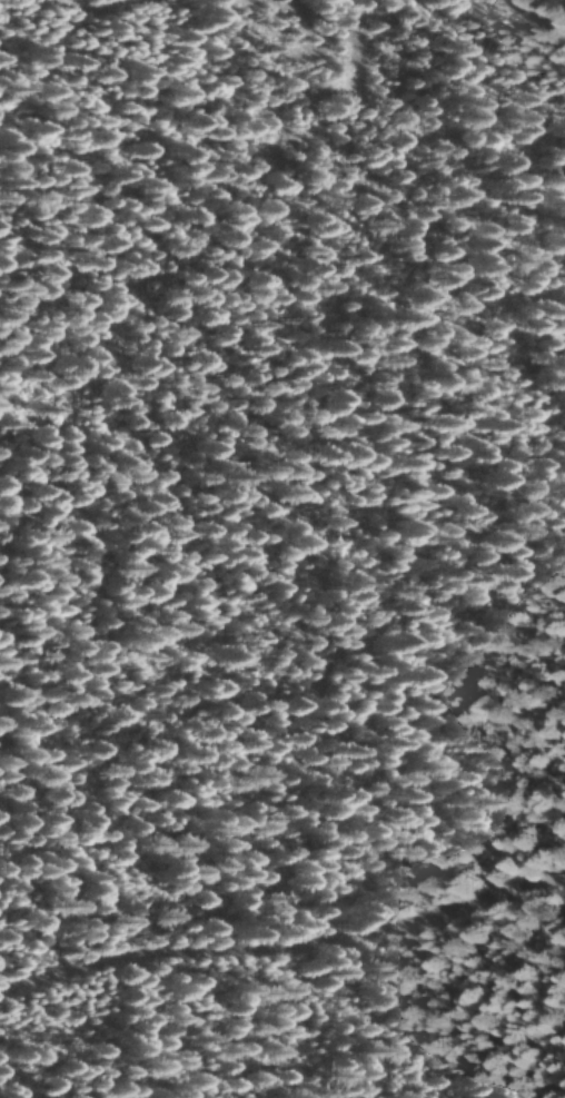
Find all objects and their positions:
road: (519, 32)
road: (278, 861)

